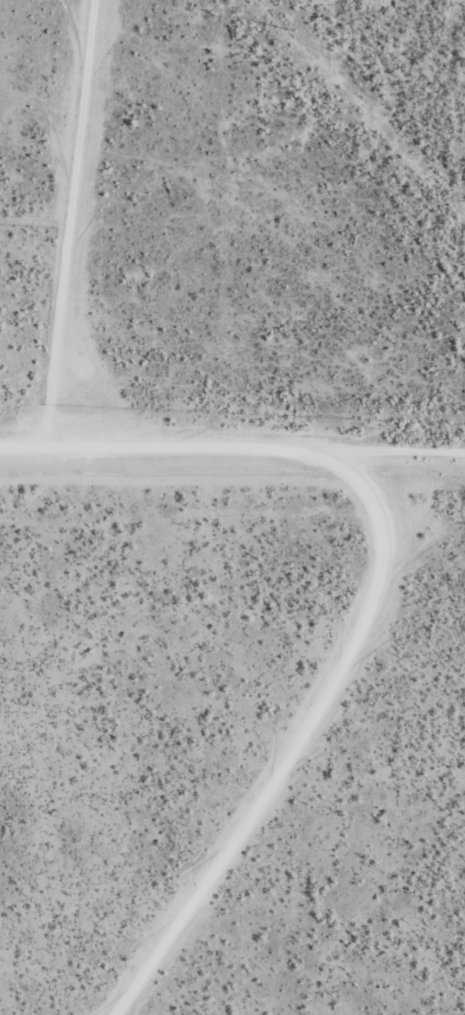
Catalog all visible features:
power tower: (287, 29)
road: (53, 217)
road: (232, 436)
road: (384, 502)
road: (323, 764)

